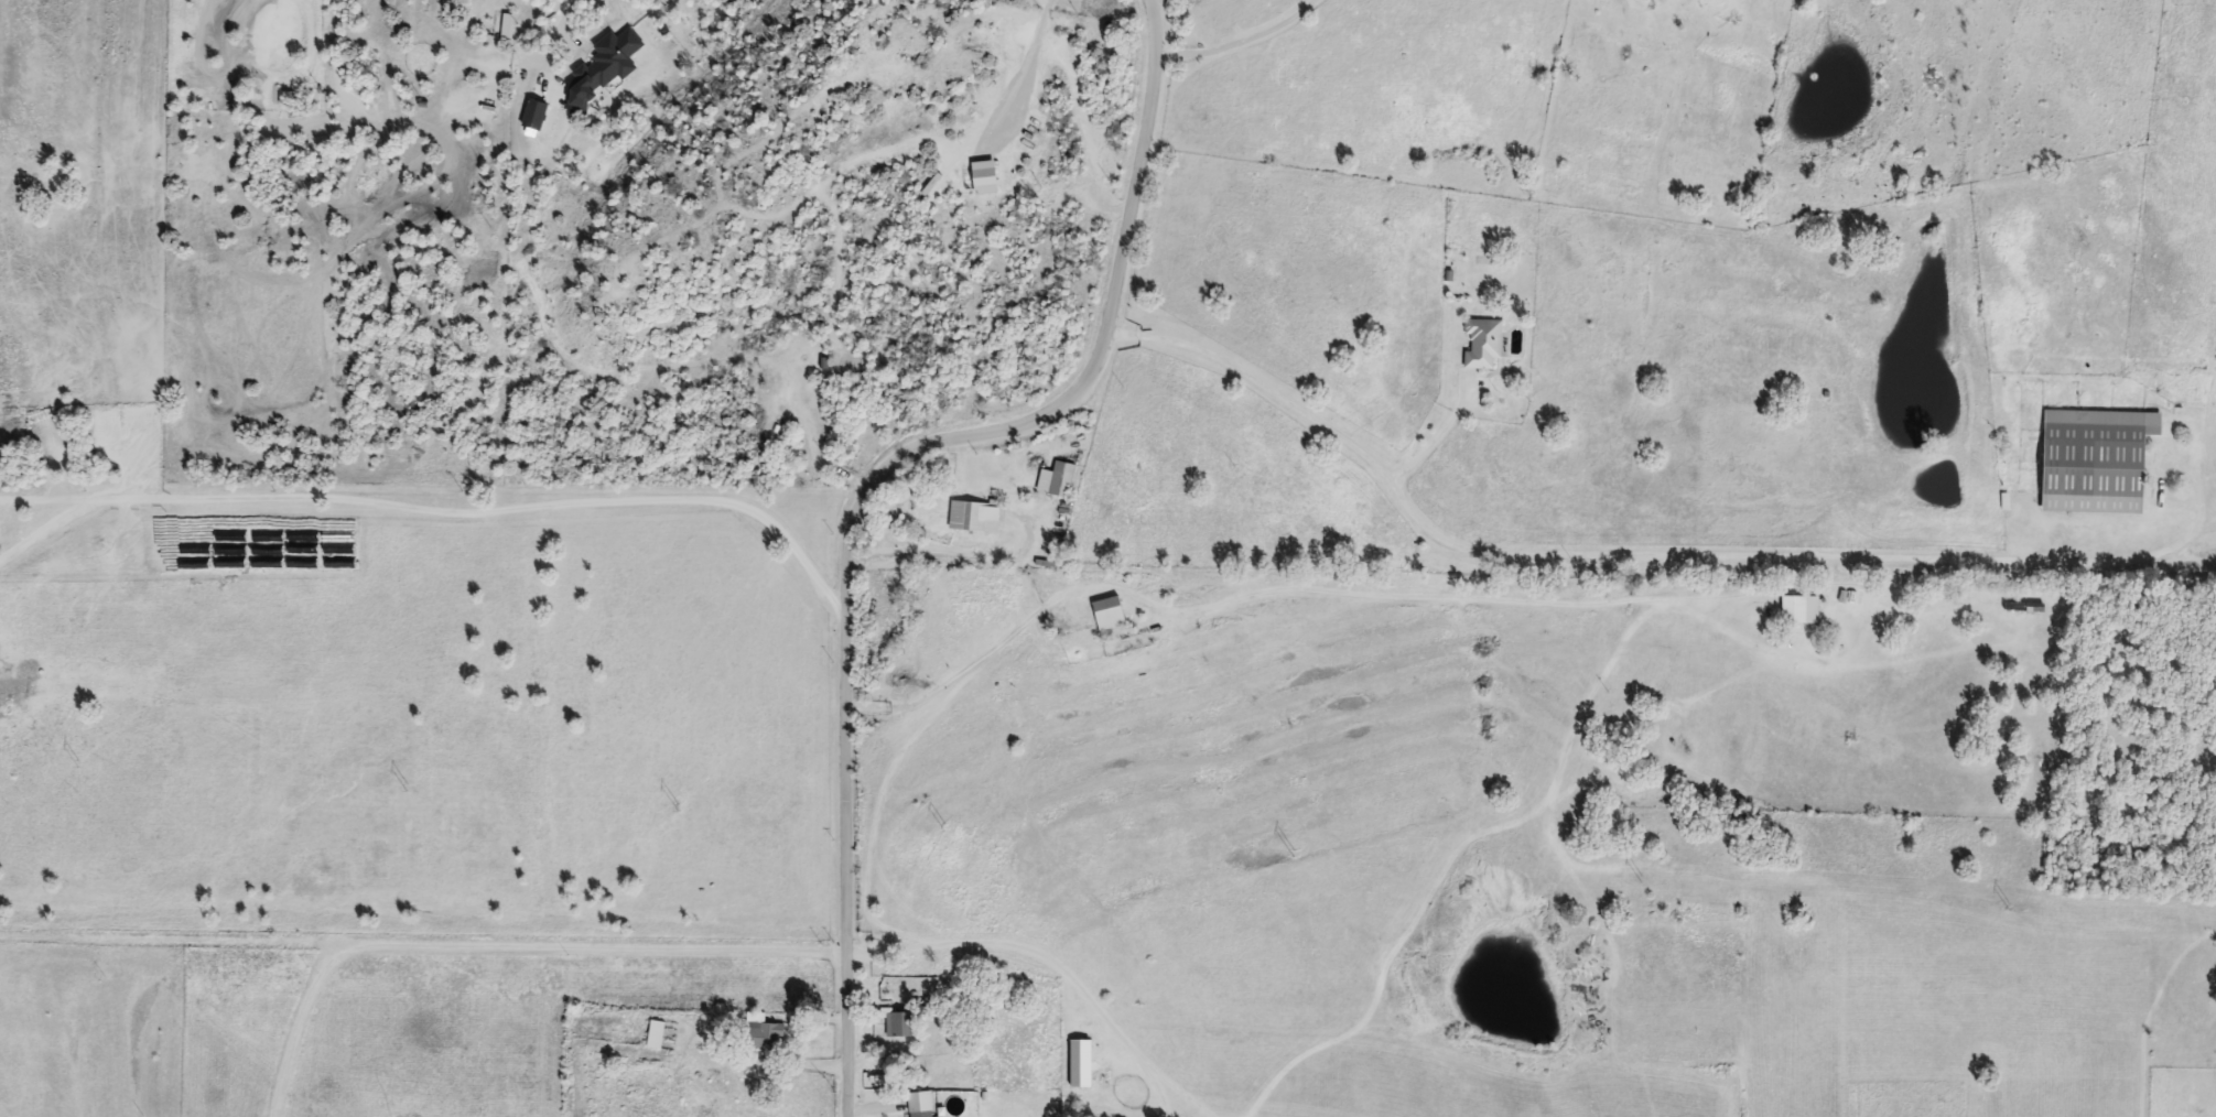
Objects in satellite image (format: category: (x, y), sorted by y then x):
road: (572, 17)
road: (1237, 43)
building: (1485, 346)
road: (1433, 448)
building: (2090, 460)
building: (1066, 481)
road: (872, 485)
road: (447, 517)
building: (976, 517)
road: (949, 551)
road: (1622, 566)
building: (2012, 607)
building: (1795, 610)
building: (1113, 615)
road: (959, 670)
power tower: (76, 767)
power tower: (407, 794)
power tower: (678, 814)
power tower: (942, 834)
power tower: (1290, 860)
power tower: (1640, 886)
power tower: (2007, 915)
road: (422, 945)
road: (1039, 962)
road: (298, 1020)
building: (902, 1027)
building: (657, 1035)
building: (767, 1037)
building: (927, 1115)

